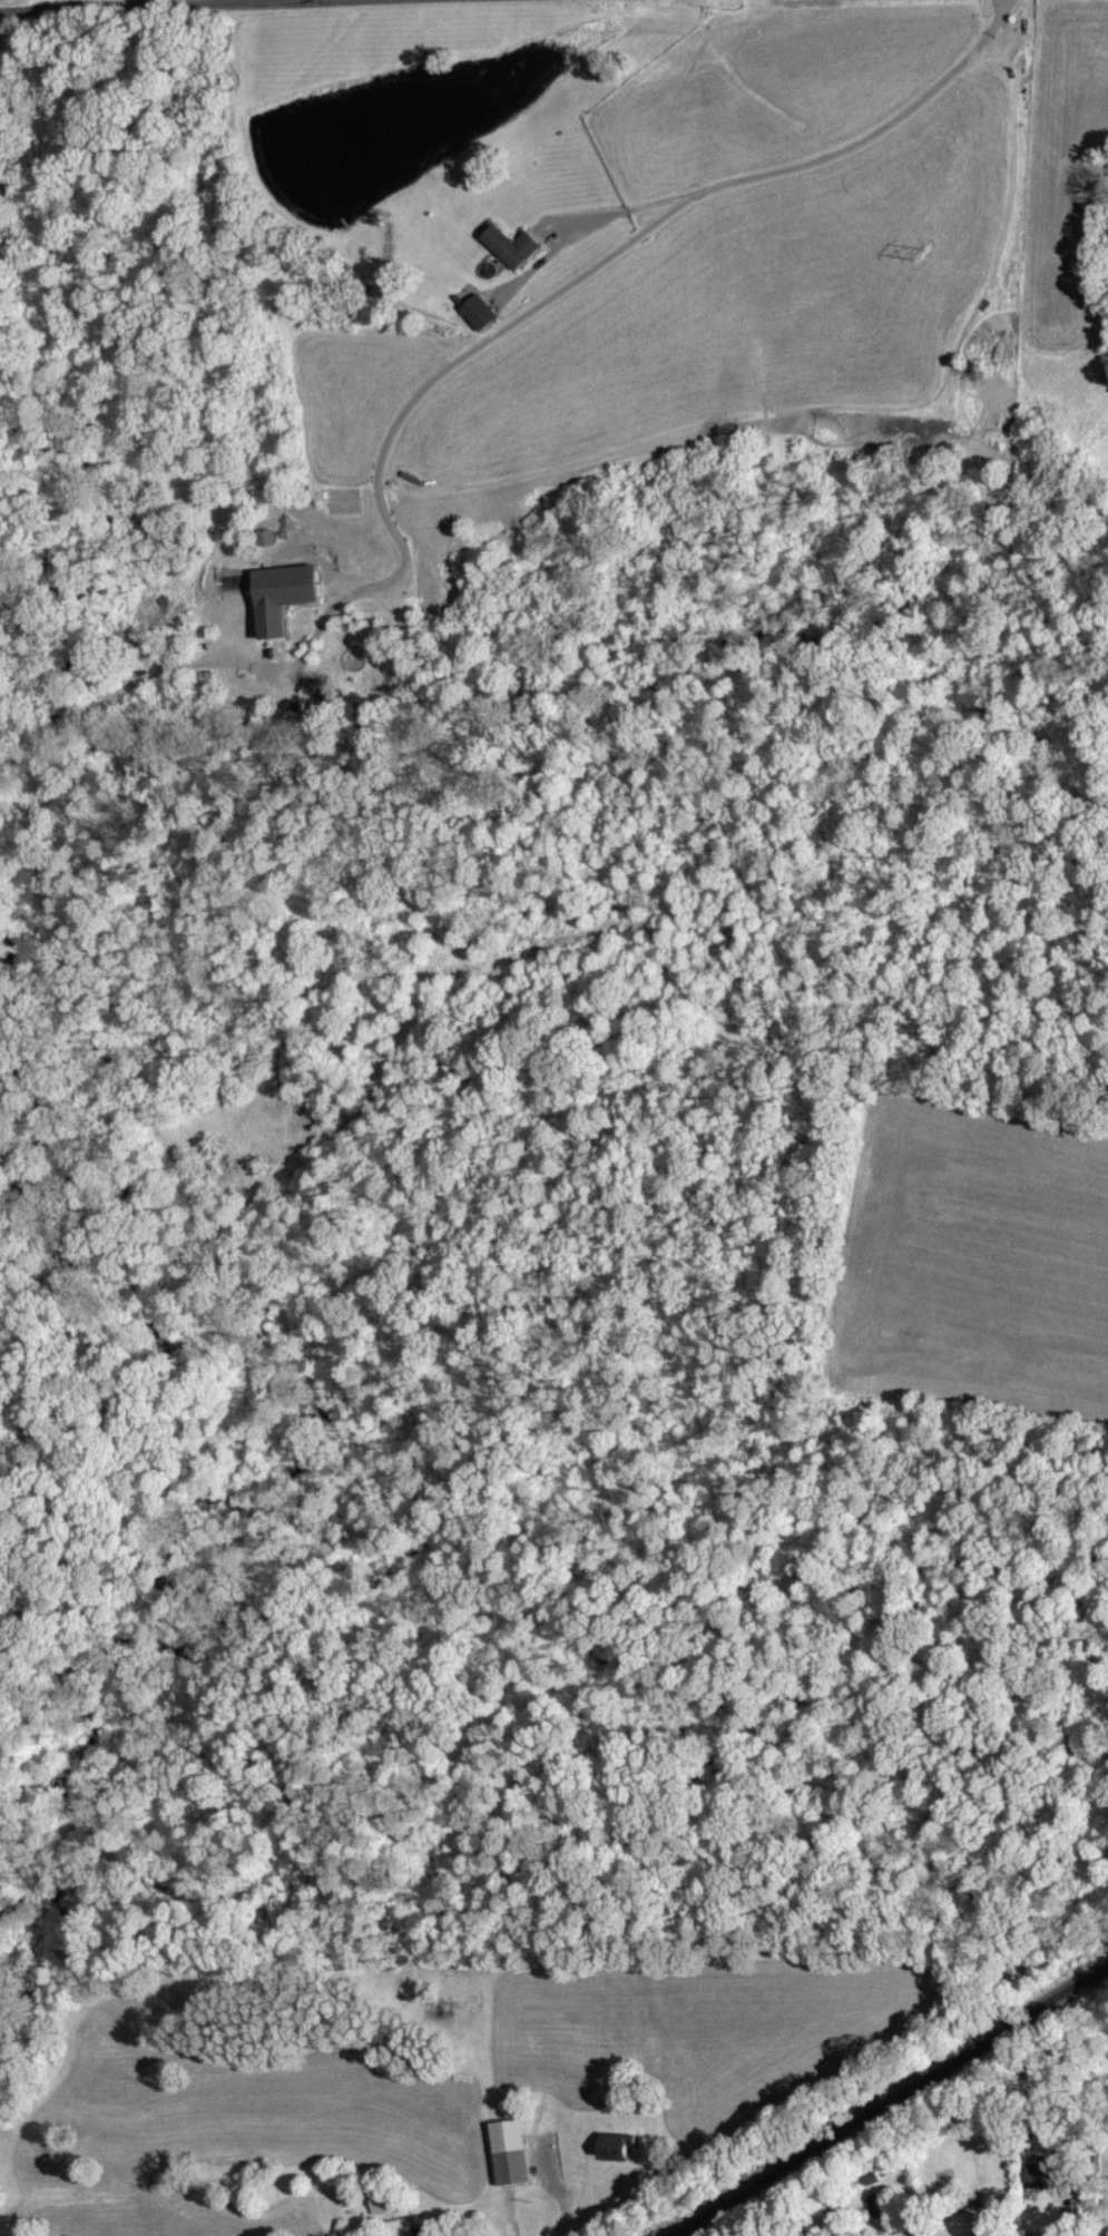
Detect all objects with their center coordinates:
road: (141, 4)
building: (506, 246)
road: (612, 249)
building: (473, 312)
building: (275, 596)
railway: (889, 2100)
building: (612, 2146)
building: (1033, 2175)
building: (965, 2204)
building: (875, 2205)

